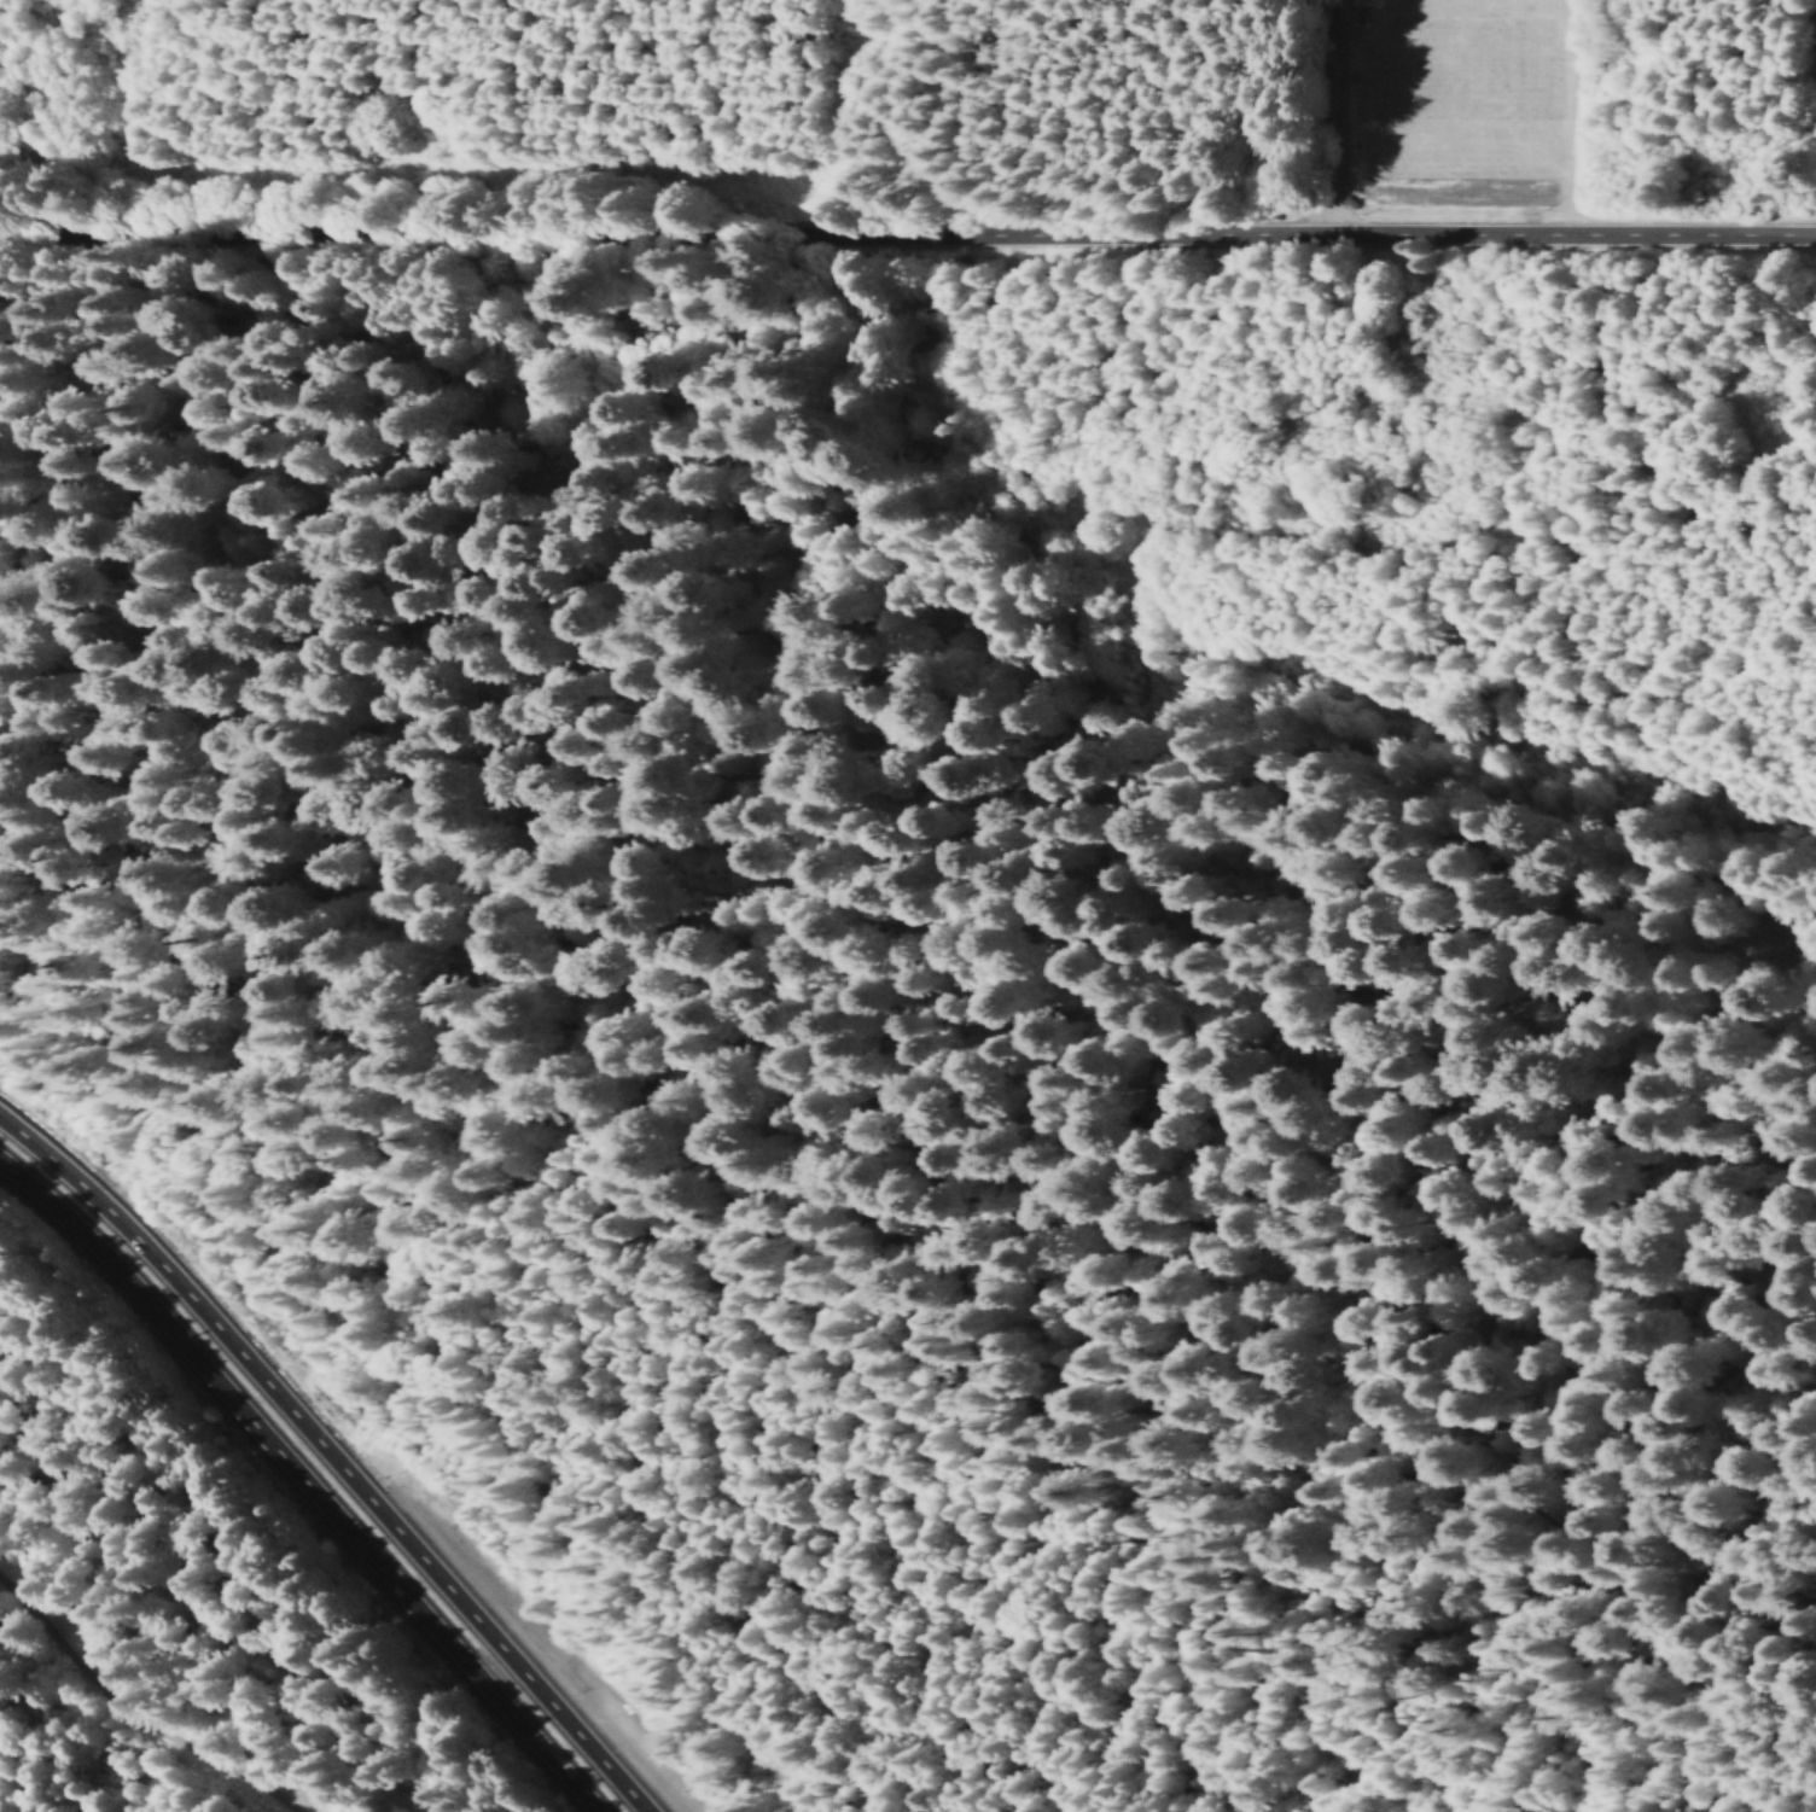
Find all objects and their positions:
road: (1197, 204)
road: (907, 240)
road: (465, 680)
road: (1071, 827)
road: (1649, 1237)
road: (1485, 1254)
road: (328, 1458)
road: (297, 1486)
road: (107, 1714)

